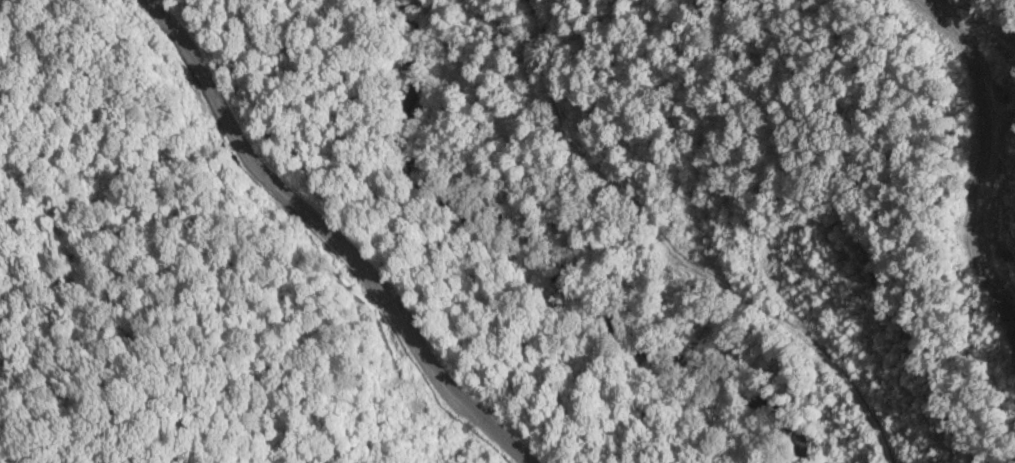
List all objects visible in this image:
road: (668, 217)
road: (342, 226)

